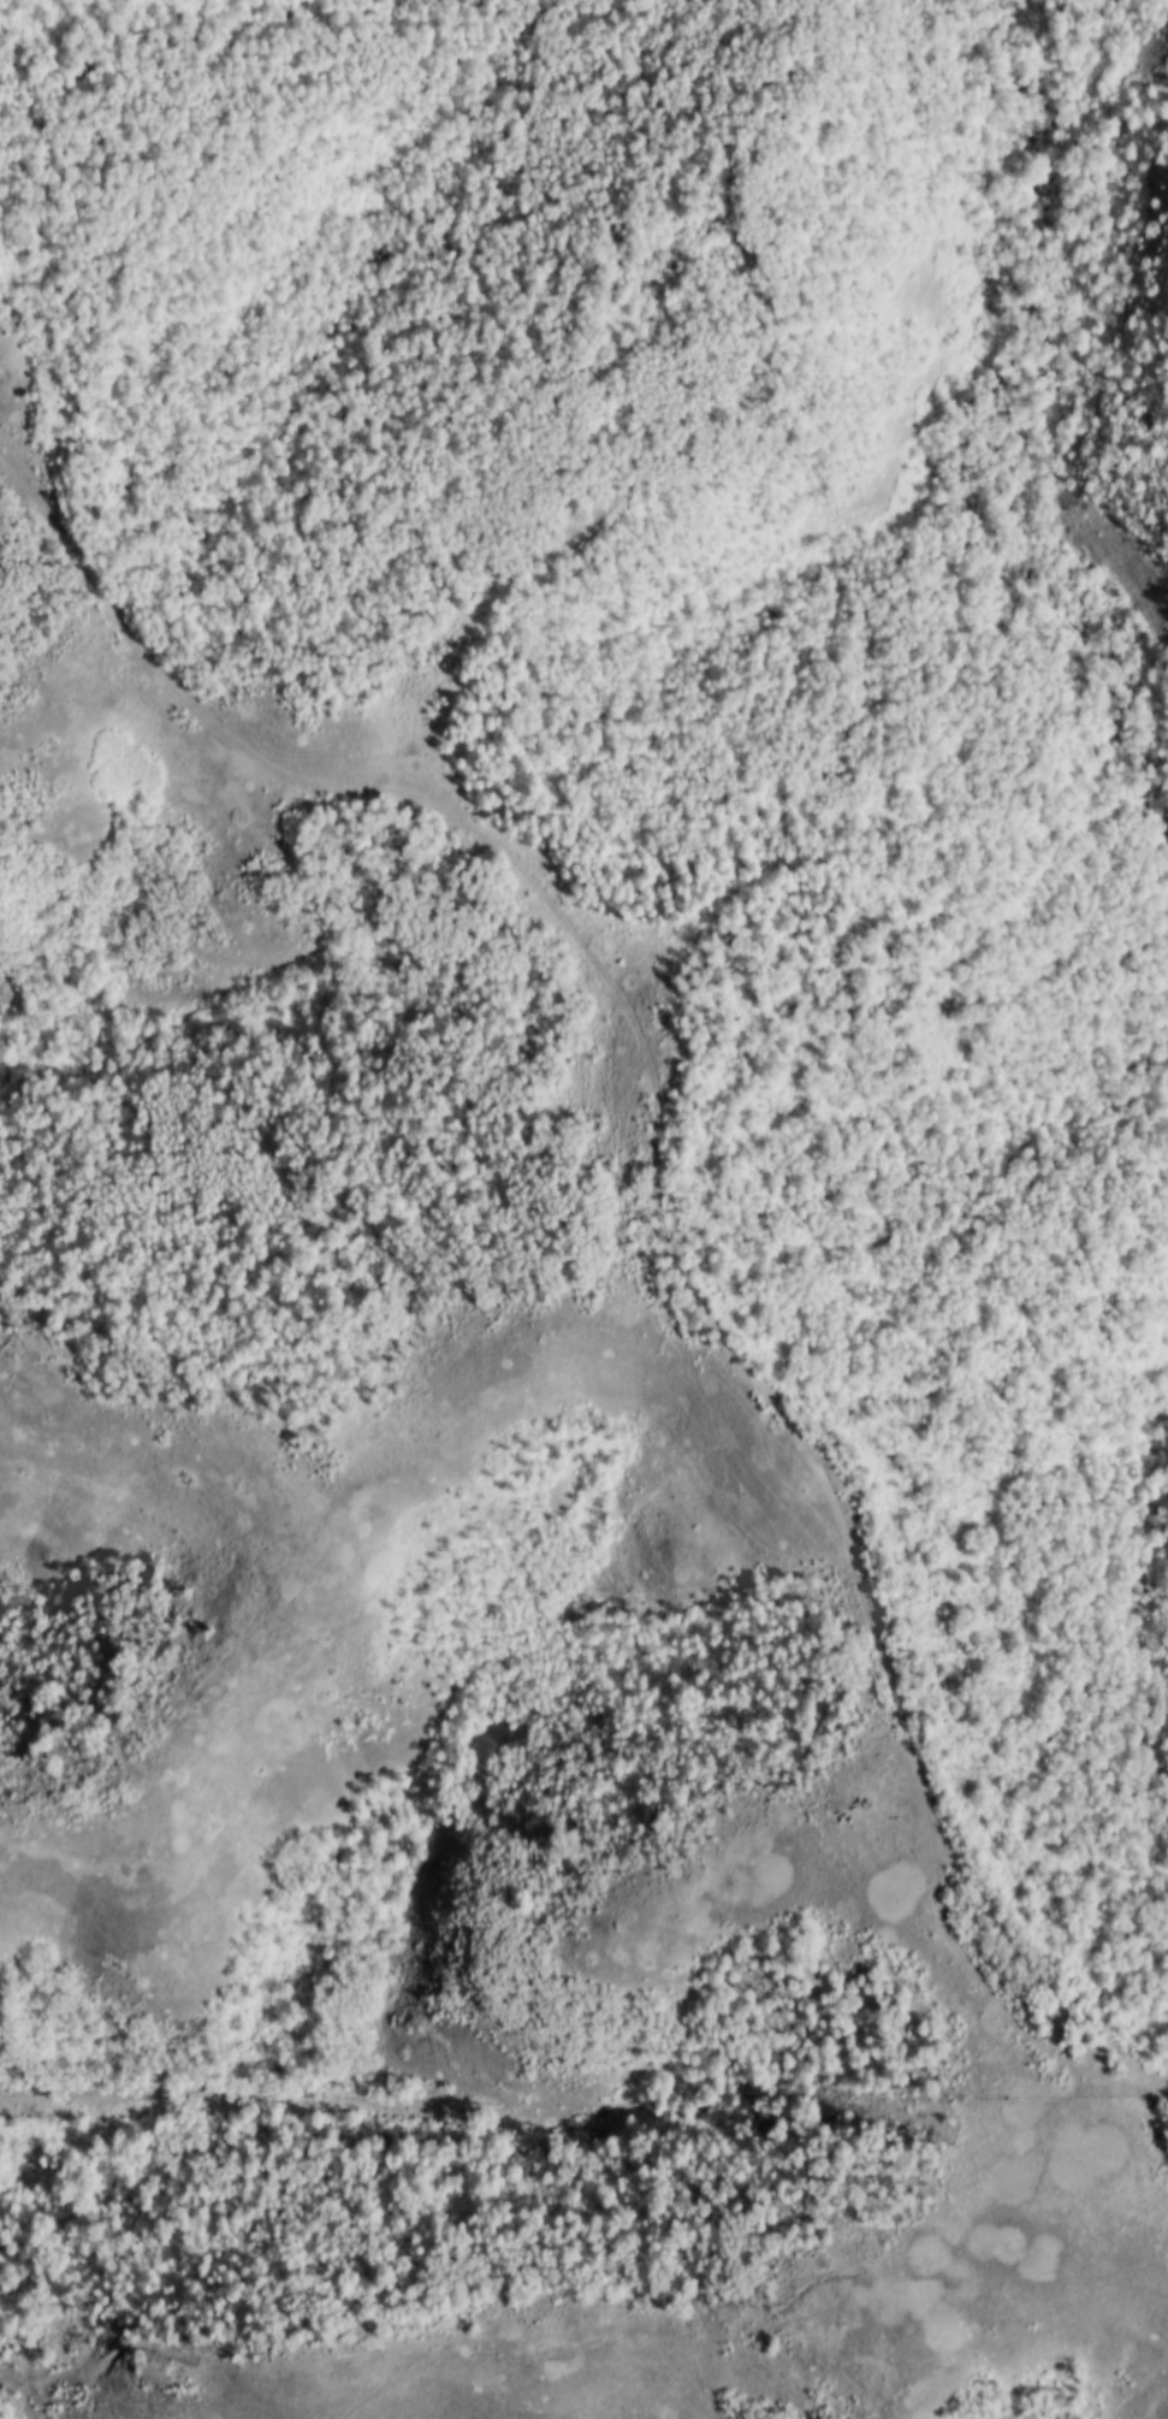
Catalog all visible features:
road: (592, 2113)

